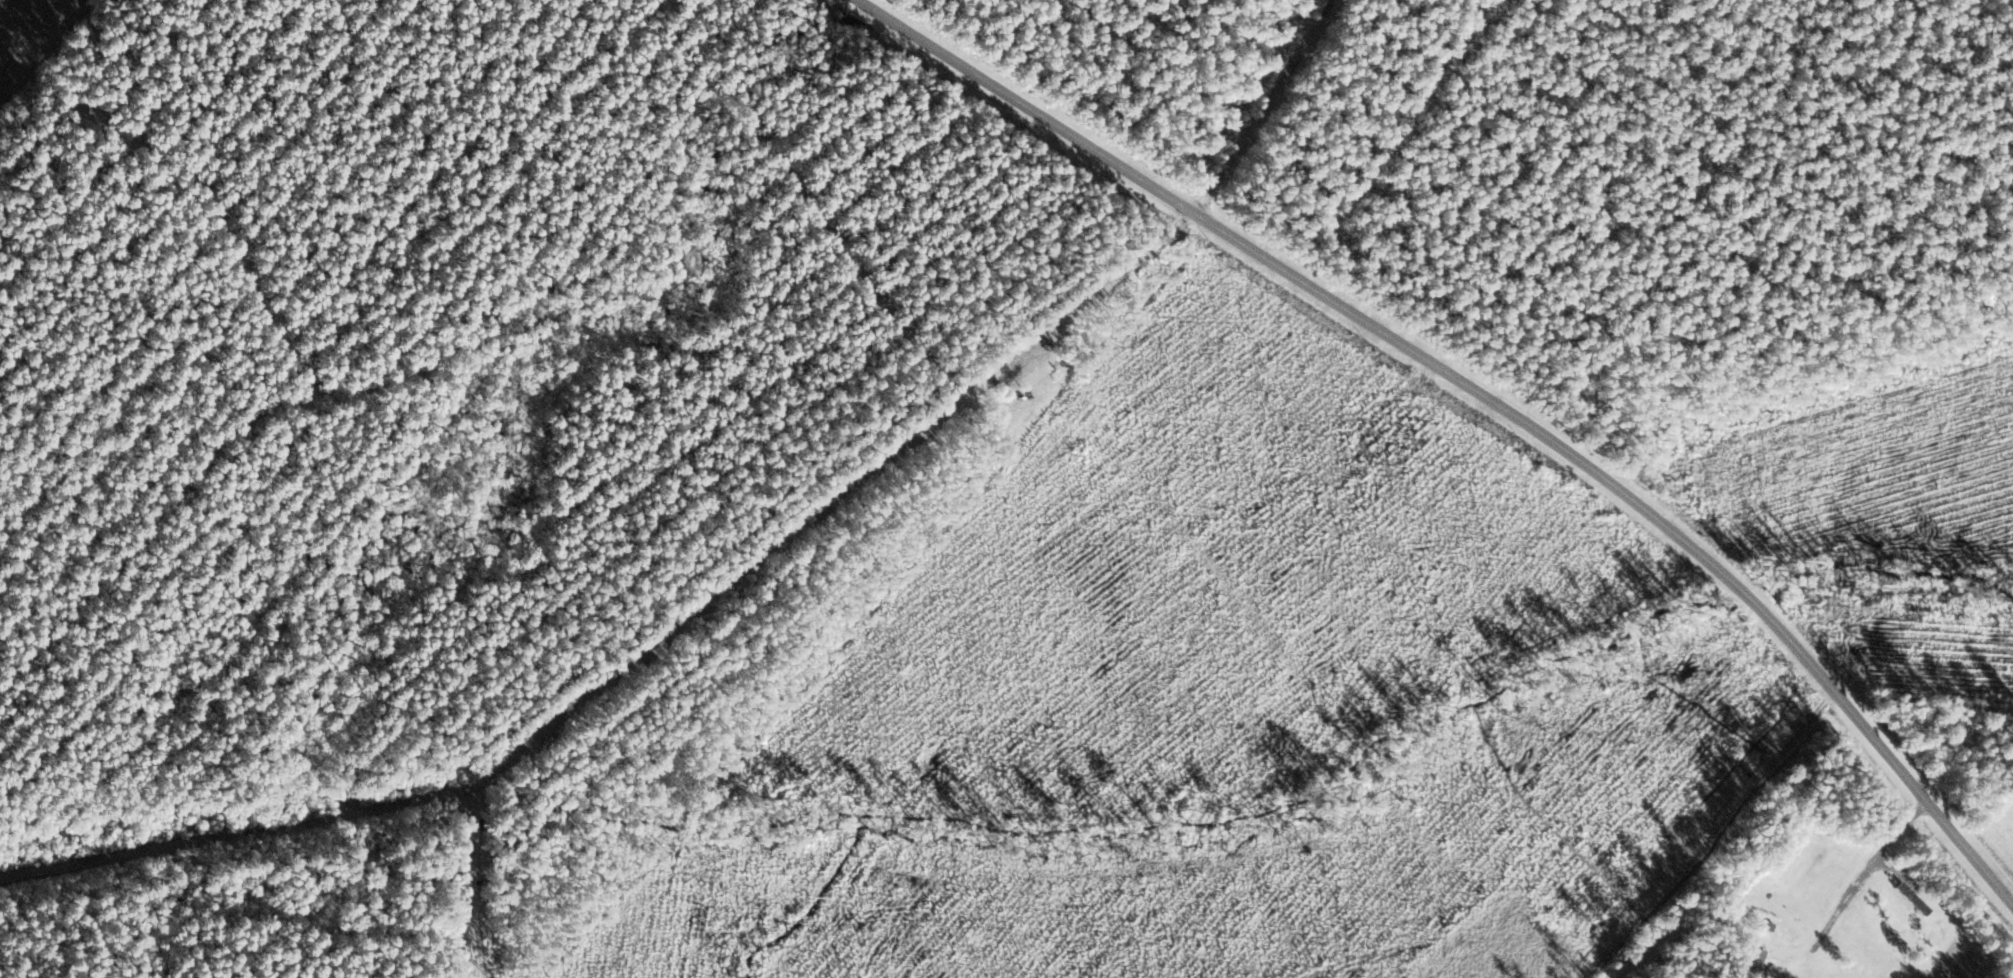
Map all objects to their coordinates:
road: (1482, 394)
road: (808, 433)
road: (229, 834)
building: (1912, 900)
building: (1767, 928)
building: (1758, 959)

